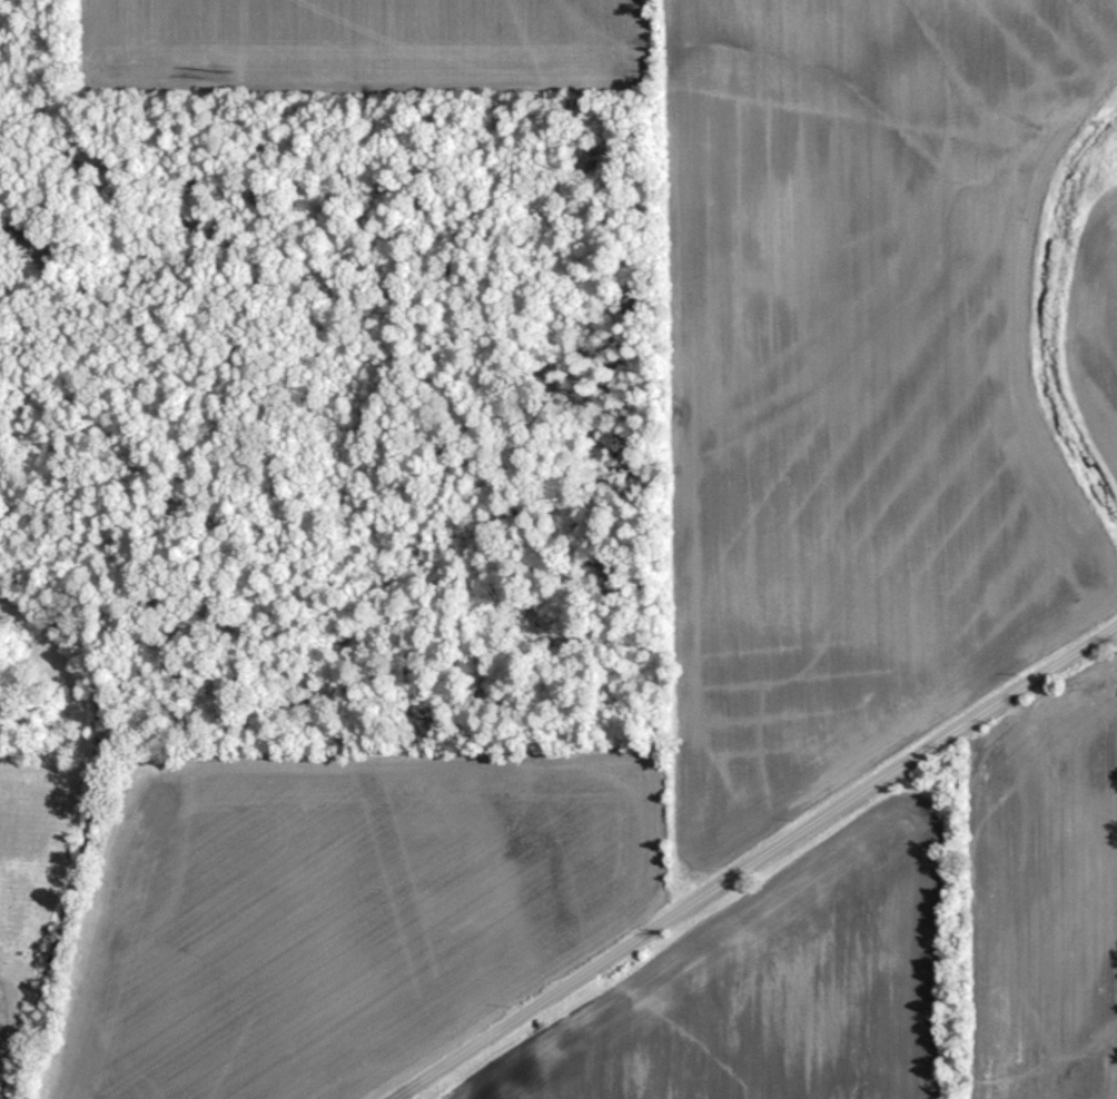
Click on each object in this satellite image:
road: (751, 858)

